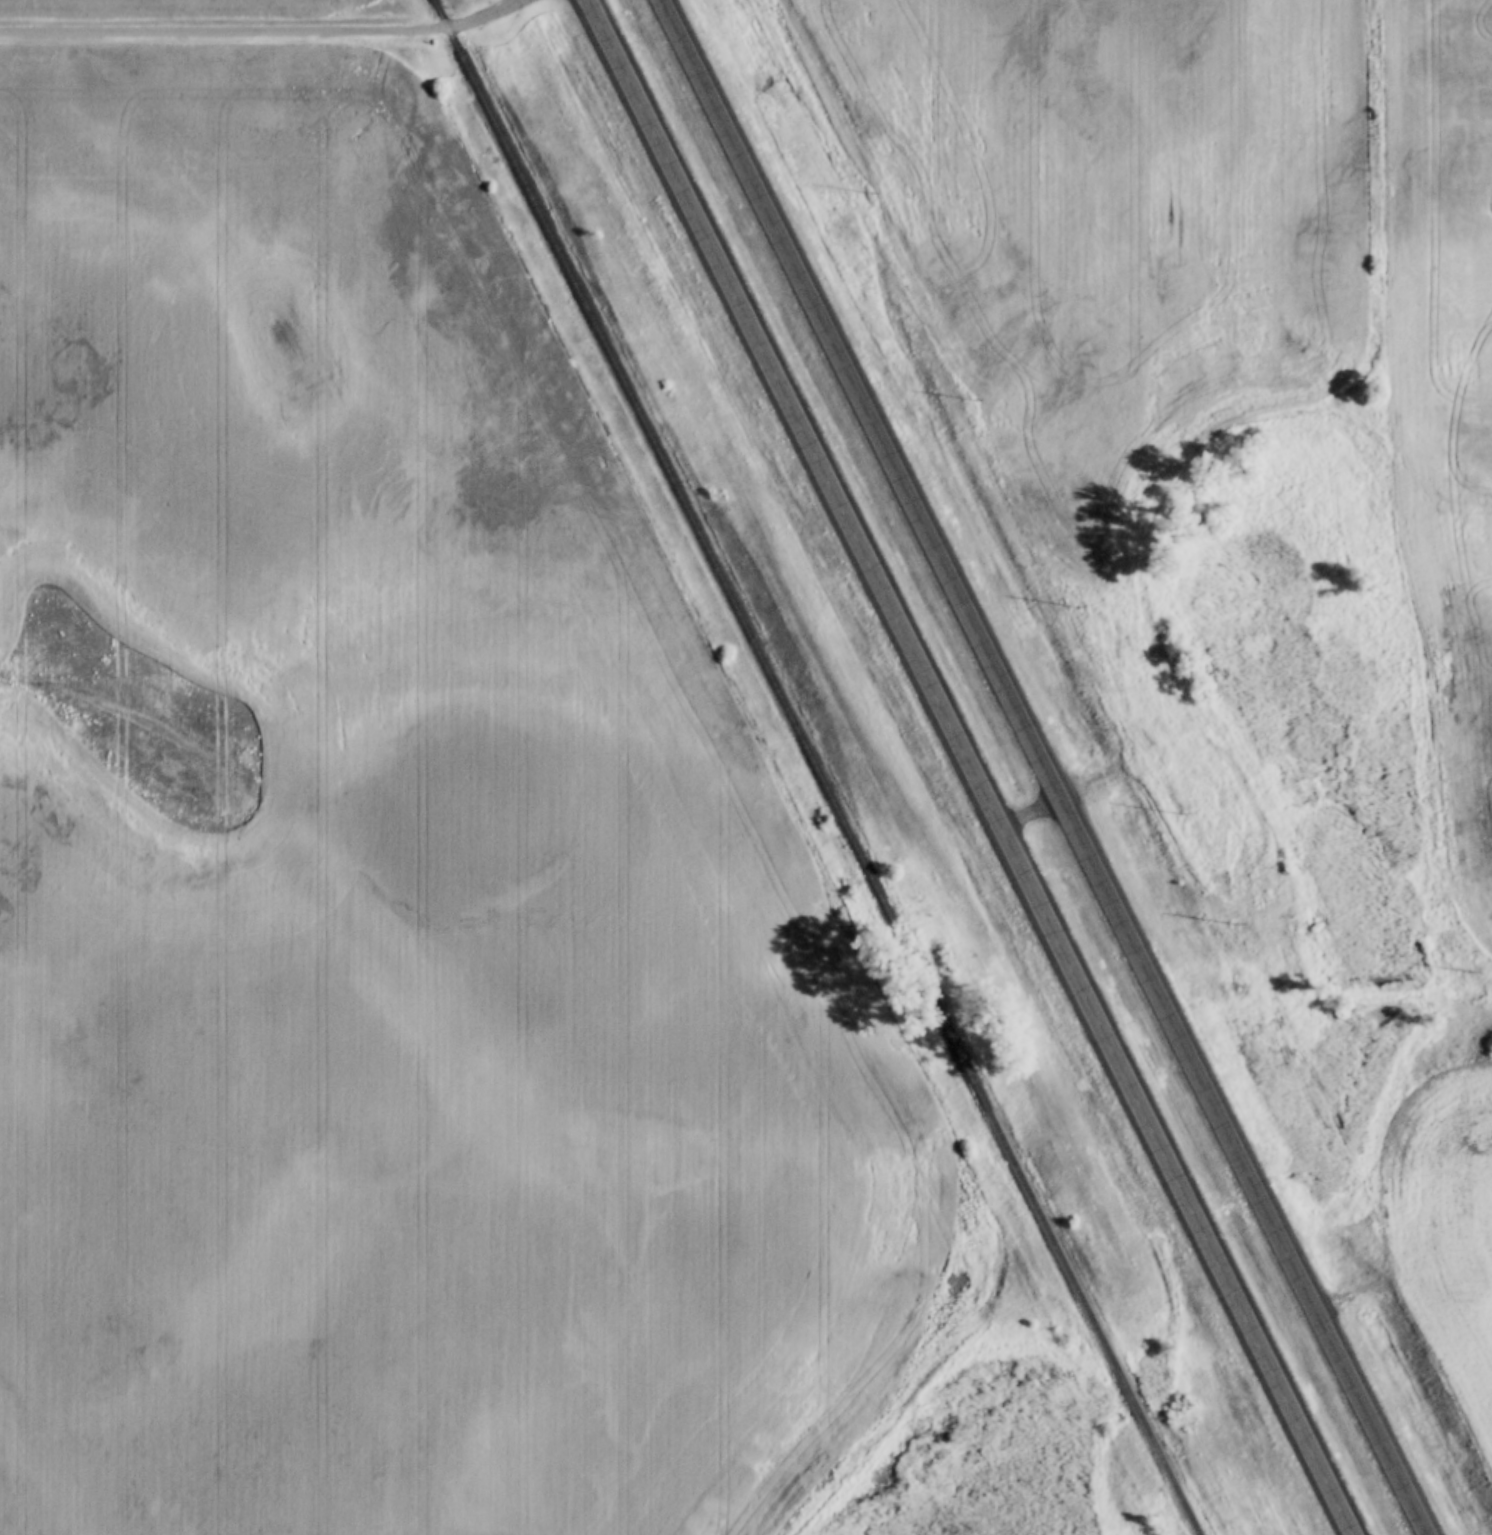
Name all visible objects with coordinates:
road: (483, 16)
road: (223, 28)
railway: (810, 767)
road: (971, 767)
road: (1047, 767)

